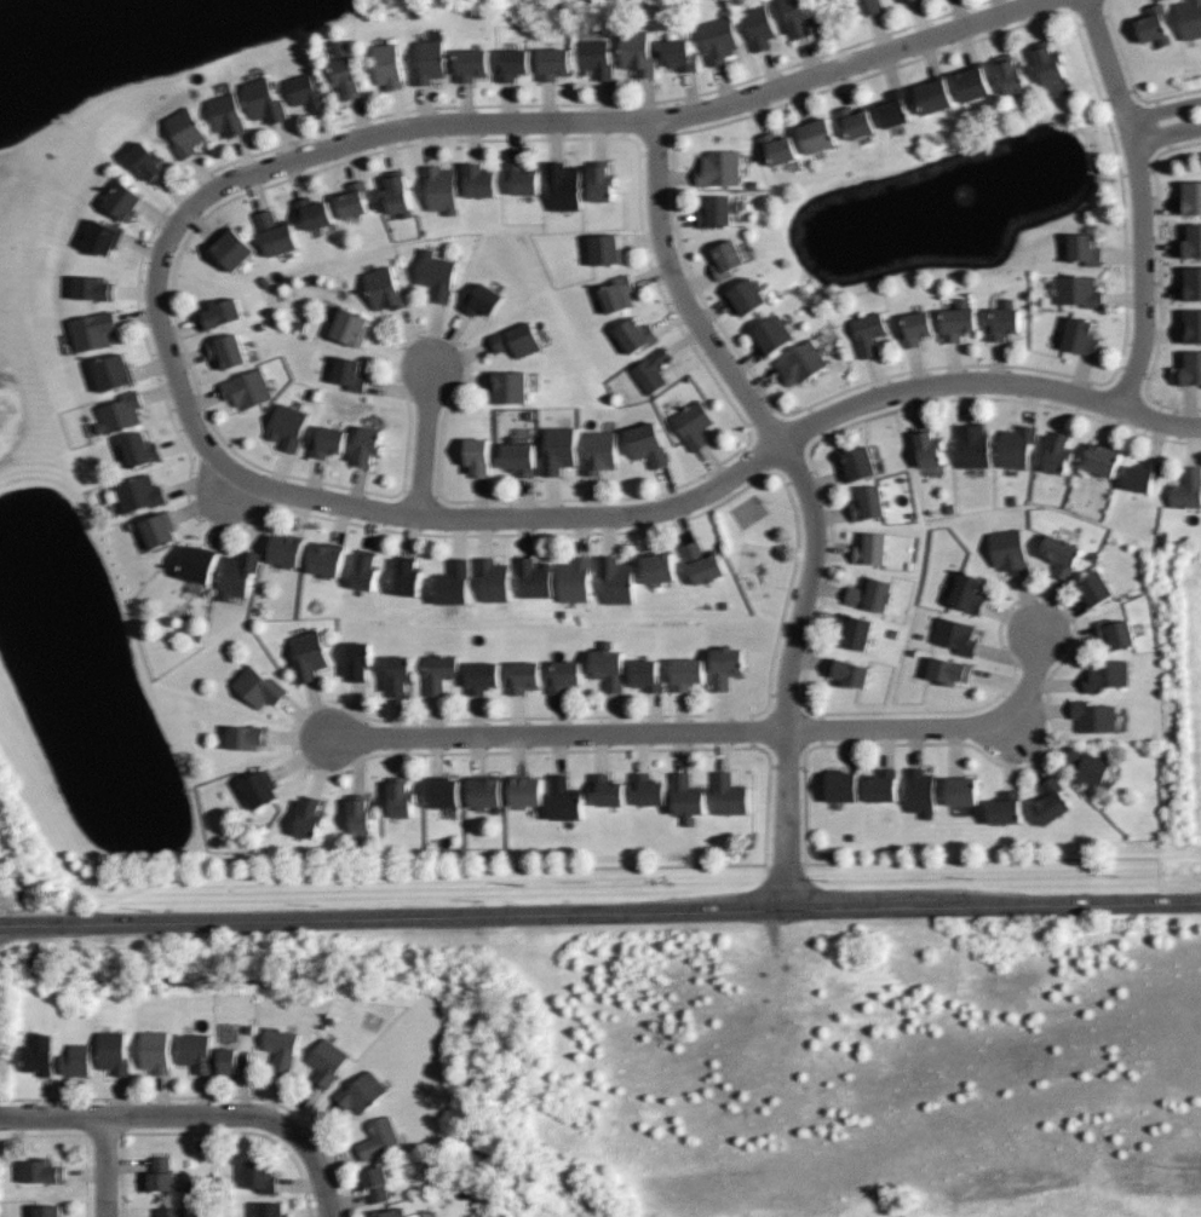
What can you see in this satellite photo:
building: (901, 0)
building: (912, 0)
building: (869, 6)
building: (798, 16)
building: (1189, 18)
building: (1150, 24)
building: (758, 27)
building: (719, 38)
building: (637, 51)
building: (679, 53)
building: (594, 57)
building: (430, 60)
building: (471, 63)
building: (512, 63)
building: (551, 63)
building: (389, 64)
building: (1047, 64)
building: (345, 70)
building: (1010, 74)
building: (970, 81)
building: (305, 91)
building: (933, 94)
building: (265, 99)
building: (891, 108)
building: (229, 114)
road: (544, 120)
building: (854, 121)
road: (1165, 123)
building: (186, 131)
building: (816, 133)
building: (776, 146)
building: (149, 161)
building: (717, 168)
building: (522, 178)
building: (479, 180)
building: (600, 180)
building: (563, 184)
building: (441, 188)
building: (396, 192)
building: (1191, 197)
building: (354, 198)
building: (125, 200)
road: (1140, 201)
building: (314, 212)
building: (716, 212)
building: (275, 232)
building: (104, 236)
building: (1191, 240)
building: (235, 248)
building: (605, 249)
building: (1085, 249)
building: (725, 260)
building: (437, 275)
building: (1193, 282)
building: (93, 287)
building: (386, 288)
building: (1076, 290)
building: (617, 293)
building: (747, 295)
building: (483, 299)
building: (219, 312)
building: (1005, 319)
building: (959, 321)
building: (351, 325)
building: (1191, 325)
building: (915, 328)
building: (93, 330)
building: (867, 331)
building: (772, 333)
building: (636, 334)
building: (1079, 336)
building: (518, 339)
building: (228, 350)
building: (798, 363)
building: (1190, 368)
building: (650, 370)
building: (114, 371)
building: (351, 373)
building: (511, 386)
building: (248, 387)
building: (121, 413)
building: (691, 423)
building: (288, 427)
building: (328, 442)
road: (424, 442)
building: (647, 443)
building: (973, 444)
building: (368, 445)
building: (927, 446)
building: (1017, 446)
building: (140, 449)
building: (558, 449)
building: (599, 451)
building: (1058, 452)
building: (478, 456)
building: (518, 456)
building: (1102, 460)
building: (858, 463)
building: (1140, 475)
building: (1186, 490)
building: (137, 494)
road: (808, 495)
building: (866, 503)
road: (656, 508)
building: (159, 530)
building: (287, 549)
building: (869, 549)
building: (1007, 550)
building: (1059, 554)
building: (327, 559)
building: (701, 563)
building: (199, 564)
building: (657, 567)
building: (364, 569)
building: (239, 573)
building: (407, 576)
building: (533, 577)
building: (493, 578)
building: (575, 579)
building: (616, 579)
building: (453, 583)
building: (1093, 589)
building: (966, 593)
building: (870, 594)
building: (854, 629)
building: (1114, 633)
building: (954, 636)
building: (309, 656)
building: (358, 661)
building: (608, 667)
building: (725, 667)
building: (949, 669)
building: (439, 671)
building: (849, 671)
building: (686, 674)
building: (398, 675)
building: (645, 675)
building: (1103, 675)
building: (565, 676)
building: (483, 677)
building: (524, 677)
building: (259, 687)
building: (1092, 716)
road: (941, 727)
road: (556, 732)
building: (247, 737)
building: (1088, 769)
building: (840, 784)
building: (880, 785)
building: (259, 789)
building: (648, 789)
building: (524, 790)
building: (607, 790)
building: (961, 790)
building: (483, 791)
building: (444, 792)
building: (920, 792)
building: (728, 794)
building: (686, 796)
building: (401, 797)
building: (564, 800)
building: (1048, 800)
building: (1002, 808)
building: (360, 814)
building: (310, 817)
road: (599, 912)
building: (281, 1049)
building: (154, 1050)
building: (196, 1051)
building: (115, 1052)
building: (38, 1054)
building: (76, 1061)
building: (234, 1062)
building: (328, 1063)
building: (362, 1095)
road: (165, 1117)
building: (380, 1141)
road: (107, 1167)
building: (42, 1171)
building: (160, 1176)
building: (260, 1177)
road: (326, 1183)
building: (375, 1183)
building: (48, 1210)
building: (271, 1210)
building: (171, 1212)
building: (392, 1212)
building: (415, 1216)

